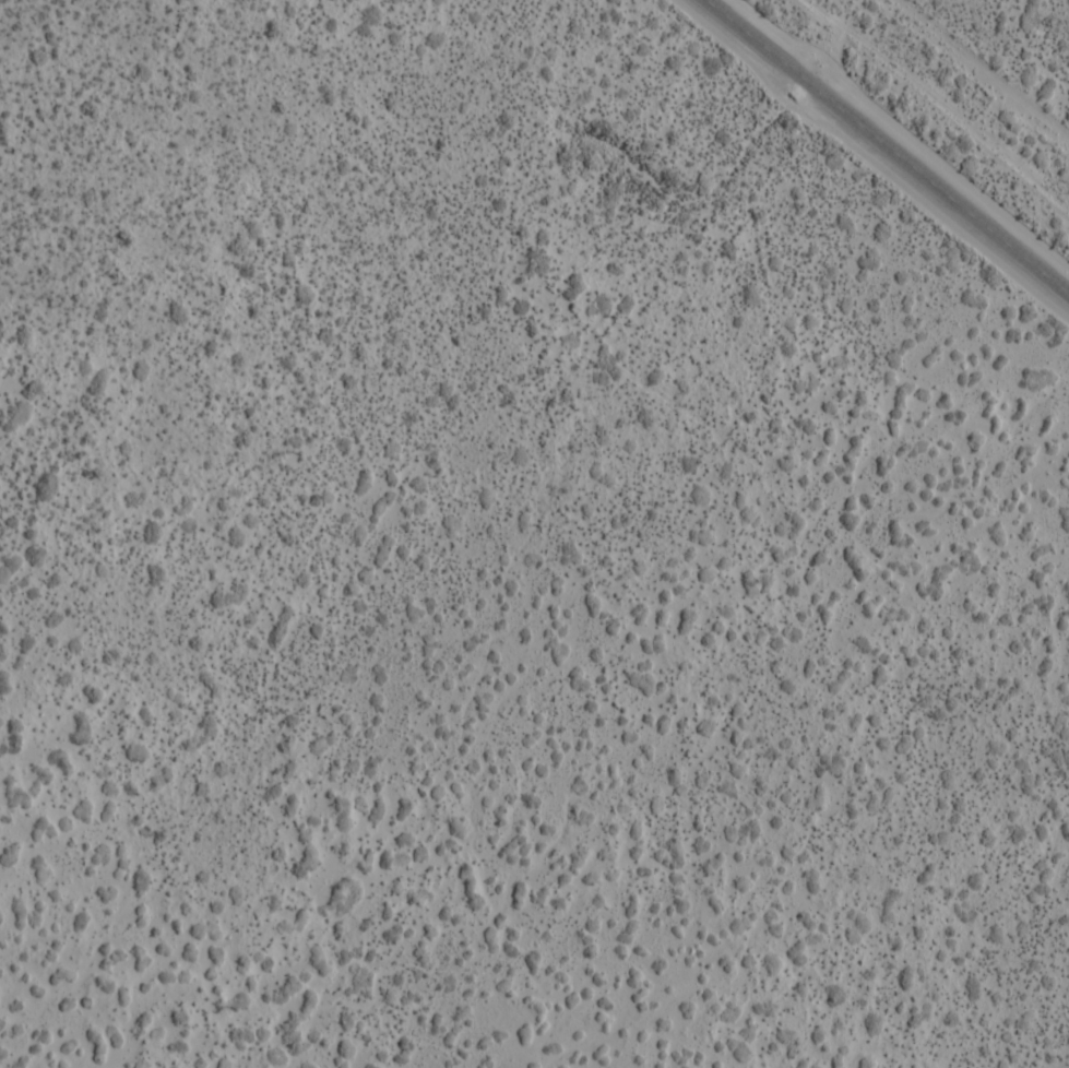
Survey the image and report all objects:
road: (889, 143)

